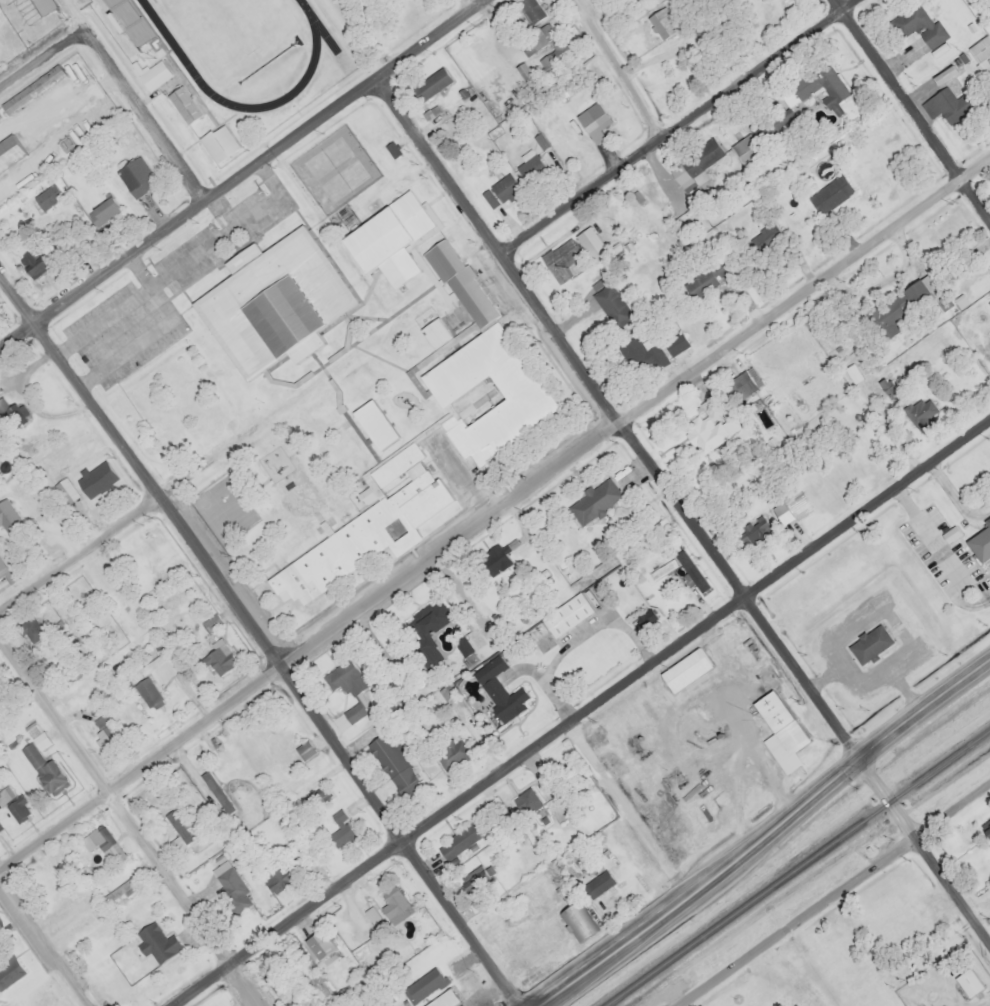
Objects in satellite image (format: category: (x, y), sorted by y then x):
building: (40, 6)
building: (530, 9)
building: (128, 21)
building: (661, 22)
building: (916, 24)
building: (540, 36)
building: (980, 52)
building: (554, 57)
road: (115, 68)
road: (619, 69)
building: (153, 74)
building: (431, 83)
building: (820, 84)
building: (32, 88)
building: (182, 104)
building: (946, 105)
road: (913, 108)
building: (592, 120)
building: (448, 121)
road: (677, 127)
building: (752, 141)
building: (218, 142)
building: (8, 150)
building: (693, 165)
road: (241, 173)
building: (134, 175)
building: (499, 190)
building: (829, 193)
building: (102, 210)
building: (391, 238)
building: (762, 238)
building: (559, 259)
building: (33, 263)
building: (703, 279)
building: (273, 301)
building: (611, 304)
building: (899, 306)
building: (674, 343)
building: (501, 354)
building: (639, 355)
building: (740, 384)
building: (919, 411)
building: (374, 424)
building: (705, 430)
building: (96, 483)
building: (63, 489)
building: (593, 500)
road: (685, 506)
road: (494, 510)
building: (7, 517)
road: (128, 520)
building: (369, 524)
building: (752, 530)
building: (981, 541)
building: (494, 559)
building: (2, 570)
building: (568, 618)
building: (644, 618)
building: (210, 622)
building: (423, 627)
building: (30, 630)
road: (263, 630)
building: (869, 643)
building: (458, 649)
building: (219, 659)
building: (153, 669)
building: (684, 669)
building: (344, 677)
building: (500, 691)
road: (581, 712)
building: (780, 721)
building: (104, 729)
building: (35, 735)
building: (303, 750)
building: (451, 755)
building: (393, 765)
building: (42, 769)
building: (216, 792)
building: (5, 794)
building: (317, 795)
building: (152, 799)
building: (526, 801)
building: (18, 809)
road: (132, 817)
building: (986, 827)
building: (339, 829)
road: (760, 831)
building: (103, 837)
building: (461, 839)
railway: (795, 867)
building: (275, 876)
building: (476, 878)
building: (597, 883)
building: (231, 889)
road: (830, 894)
building: (391, 900)
building: (370, 914)
building: (577, 921)
building: (0, 923)
building: (907, 923)
road: (45, 936)
building: (155, 943)
building: (319, 944)
building: (9, 971)
building: (275, 973)
building: (967, 982)
building: (422, 985)
building: (370, 1003)
building: (433, 1003)

